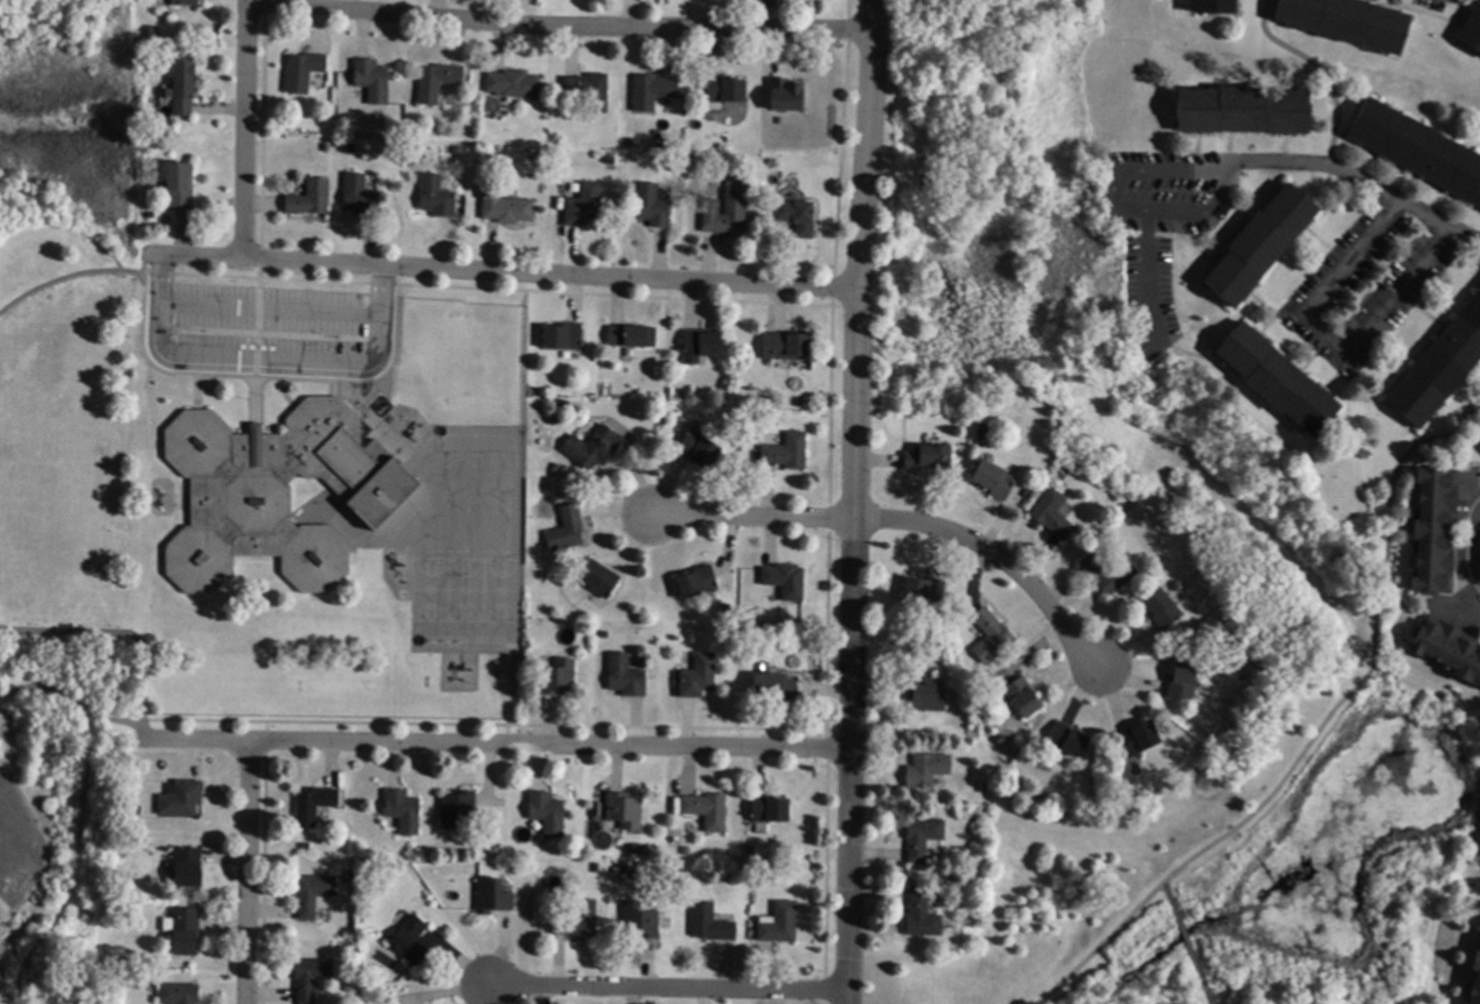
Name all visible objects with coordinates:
building: (186, 2)
building: (1216, 6)
building: (1349, 21)
road: (558, 28)
building: (1471, 30)
building: (155, 31)
building: (304, 71)
building: (372, 79)
building: (437, 81)
building: (514, 84)
building: (183, 87)
building: (725, 89)
building: (590, 90)
building: (652, 91)
building: (783, 96)
building: (1244, 110)
road: (243, 130)
building: (326, 147)
building: (353, 148)
building: (1418, 149)
building: (458, 150)
building: (539, 158)
building: (610, 160)
road: (1174, 167)
road: (1356, 177)
building: (182, 184)
building: (361, 196)
building: (437, 196)
building: (310, 198)
building: (584, 205)
building: (653, 205)
building: (506, 206)
building: (727, 210)
road: (1165, 211)
building: (797, 216)
building: (1261, 244)
road: (1352, 257)
road: (509, 274)
road: (75, 278)
road: (1396, 287)
road: (1322, 331)
building: (565, 336)
building: (633, 336)
building: (702, 342)
building: (785, 345)
road: (267, 365)
park: (470, 366)
building: (1440, 367)
building: (1278, 379)
building: (686, 394)
building: (767, 400)
building: (663, 416)
building: (553, 418)
building: (585, 428)
park: (66, 430)
building: (594, 447)
building: (700, 448)
building: (787, 452)
building: (928, 458)
building: (555, 468)
building: (1038, 472)
building: (994, 480)
park: (1179, 487)
building: (272, 494)
road: (854, 501)
building: (1053, 514)
road: (752, 519)
park: (46, 523)
building: (567, 529)
building: (1436, 529)
park: (15, 536)
road: (1472, 545)
road: (996, 558)
building: (1108, 572)
building: (599, 579)
building: (786, 580)
building: (698, 581)
building: (1178, 586)
building: (924, 591)
building: (625, 604)
building: (1163, 609)
park: (458, 610)
building: (725, 629)
building: (605, 634)
building: (991, 635)
road: (123, 636)
building: (1229, 637)
building: (529, 644)
building: (1449, 646)
building: (626, 676)
building: (699, 676)
building: (558, 677)
building: (1183, 681)
building: (776, 687)
building: (926, 693)
building: (1024, 697)
road: (73, 707)
road: (1317, 730)
building: (1139, 738)
building: (1001, 739)
building: (1069, 739)
road: (496, 746)
building: (927, 769)
building: (1112, 788)
building: (182, 798)
building: (314, 805)
building: (458, 808)
building: (137, 810)
building: (598, 810)
building: (625, 810)
building: (708, 810)
building: (404, 811)
building: (769, 811)
building: (548, 812)
building: (923, 836)
building: (142, 841)
building: (306, 845)
building: (638, 847)
building: (577, 848)
building: (688, 849)
building: (752, 849)
building: (1479, 864)
building: (187, 865)
building: (625, 869)
road: (245, 873)
building: (349, 878)
building: (972, 885)
road: (1166, 893)
building: (314, 894)
building: (494, 896)
building: (922, 914)
building: (578, 920)
building: (641, 920)
building: (711, 923)
building: (779, 923)
building: (185, 930)
building: (411, 940)
road: (1188, 947)
building: (312, 977)
building: (1476, 980)
building: (349, 987)
road: (665, 989)
building: (179, 993)
road: (1207, 997)

